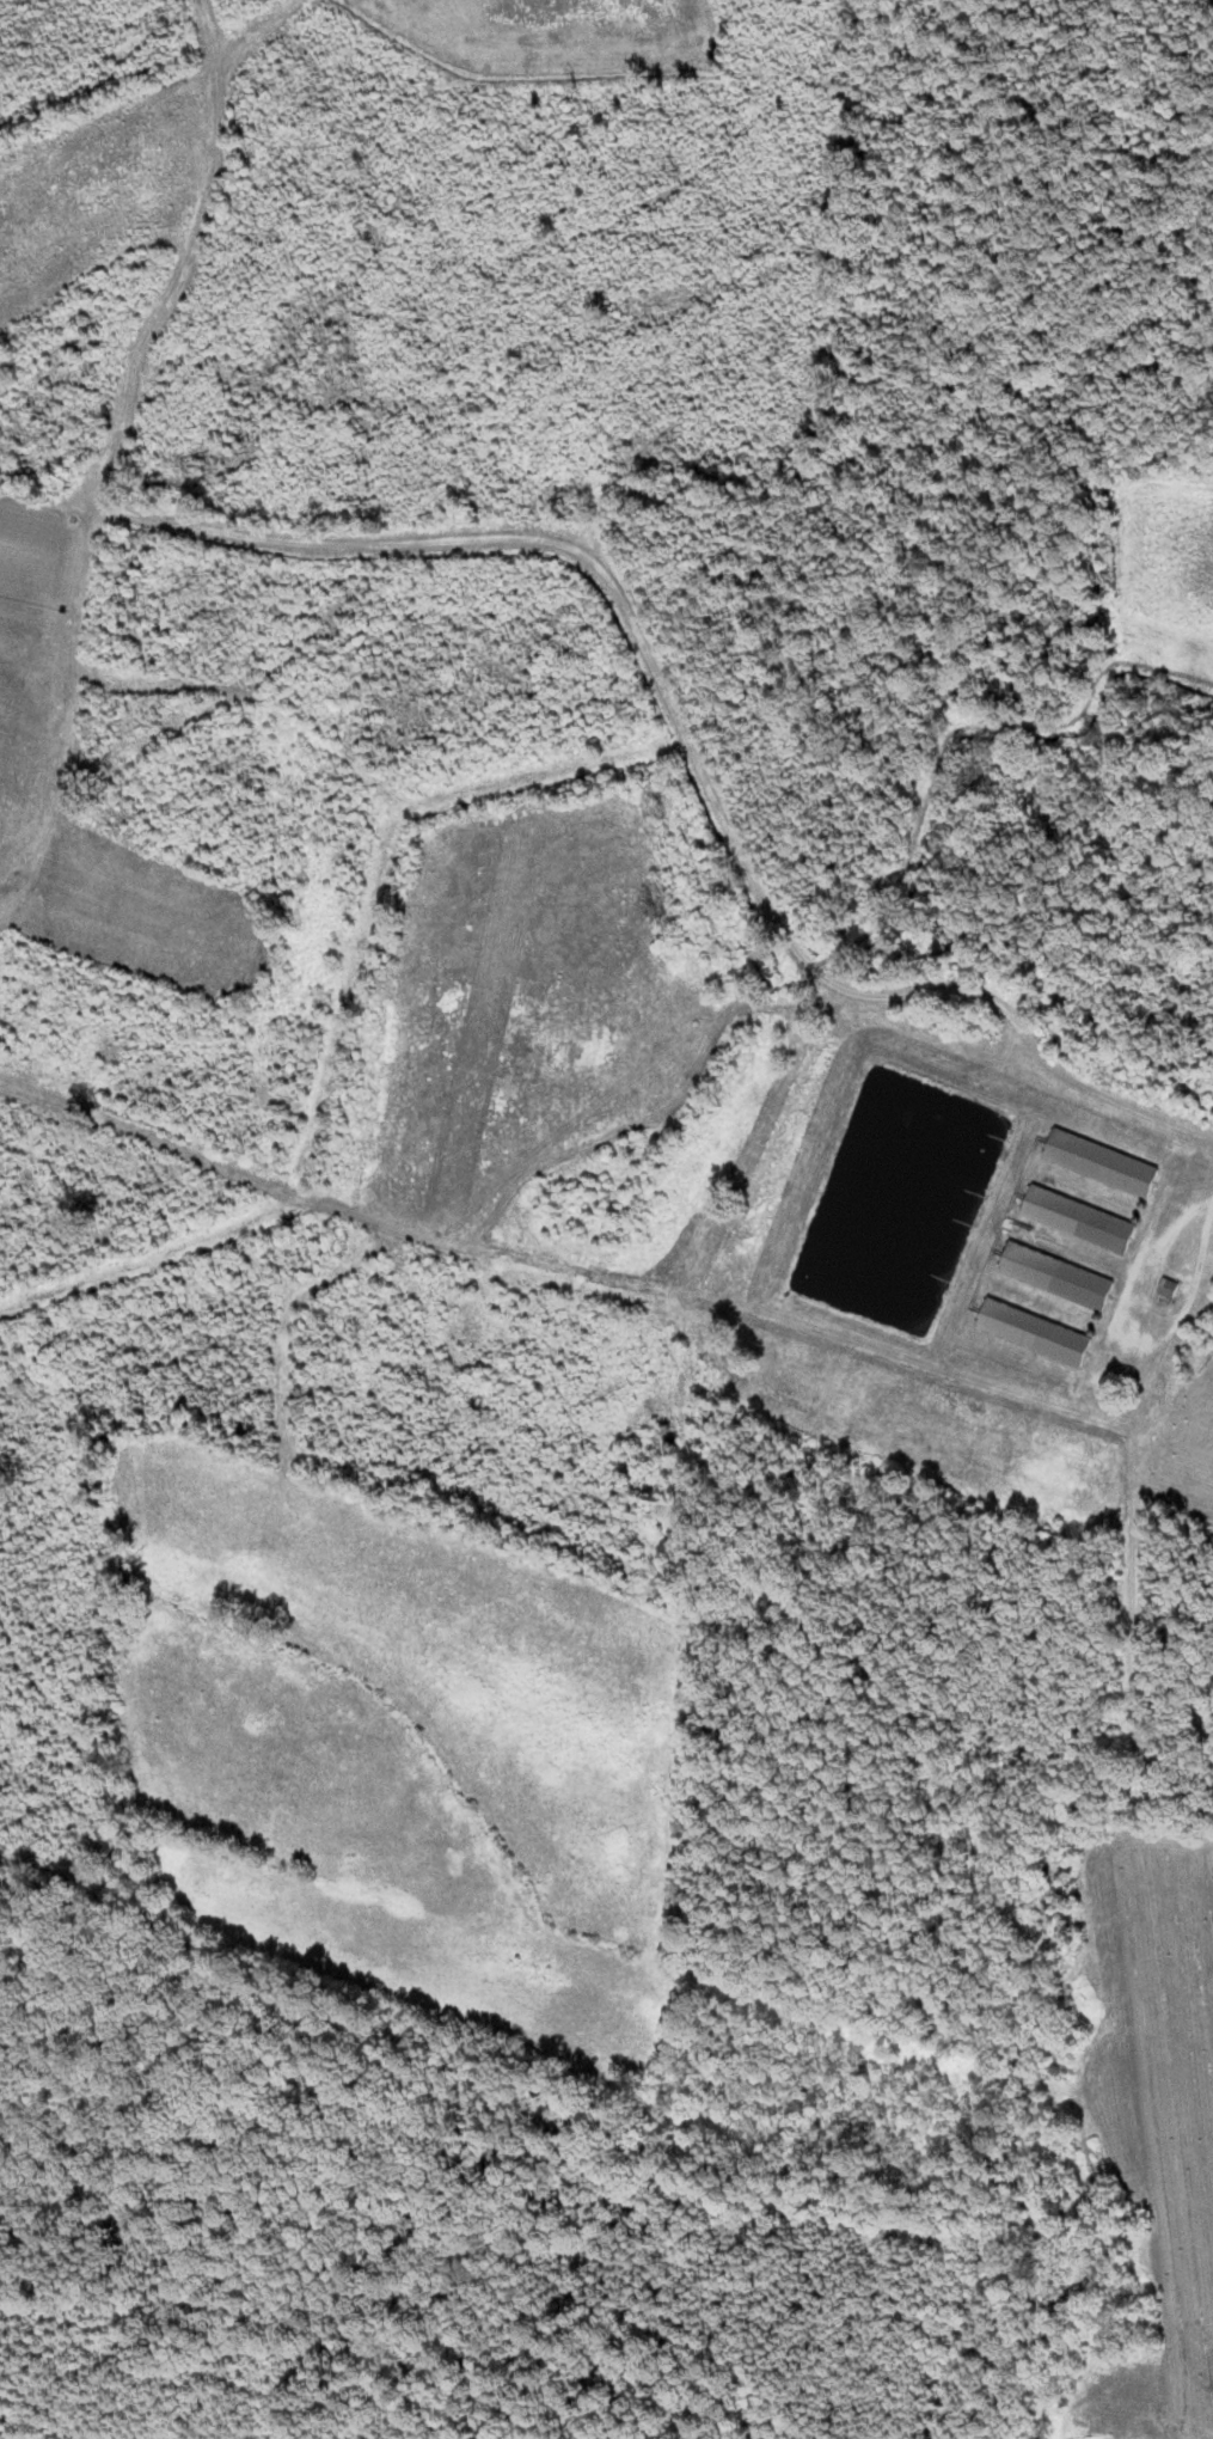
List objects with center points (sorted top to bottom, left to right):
road: (1035, 1096)
building: (1105, 1163)
building: (1082, 1219)
building: (1060, 1277)
building: (1170, 1289)
building: (1037, 1333)

